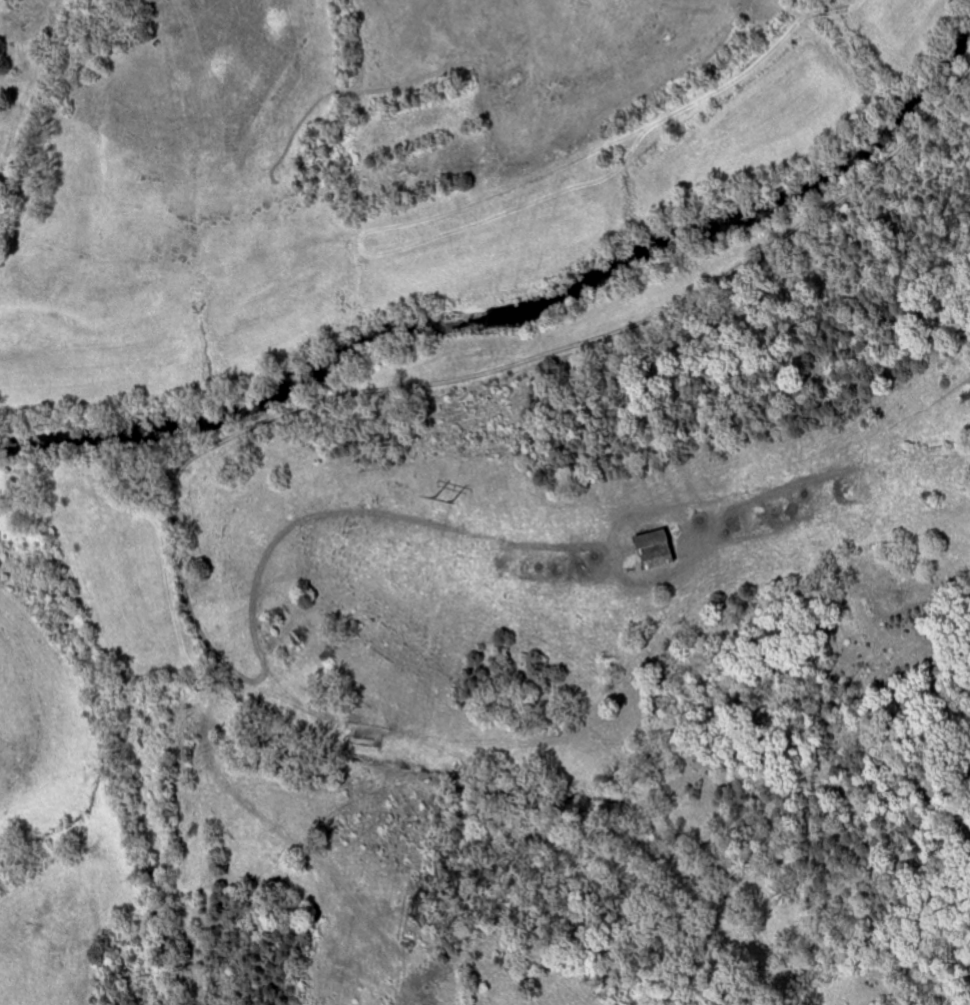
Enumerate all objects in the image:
power tower: (443, 501)
building: (656, 549)

